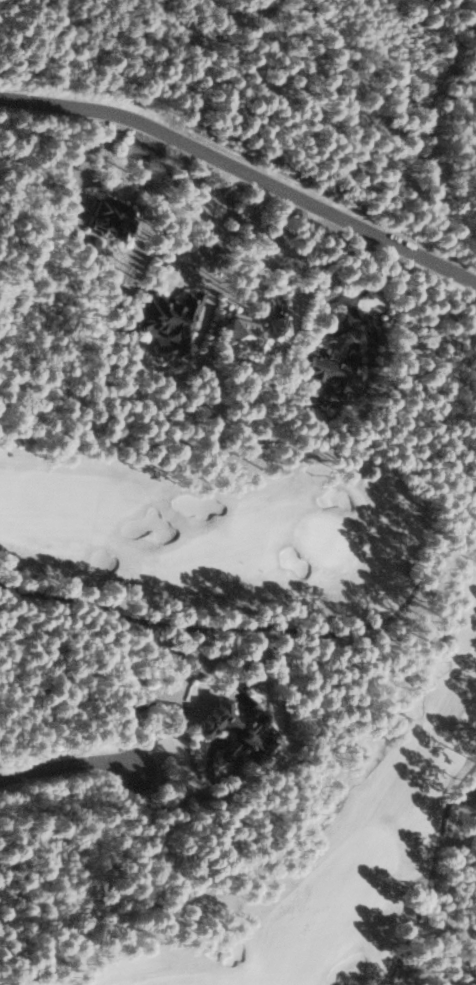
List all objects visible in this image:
road: (243, 171)
building: (109, 216)
building: (167, 322)
building: (278, 325)
building: (243, 336)
building: (330, 367)
park: (430, 694)
building: (235, 732)
road: (69, 763)

